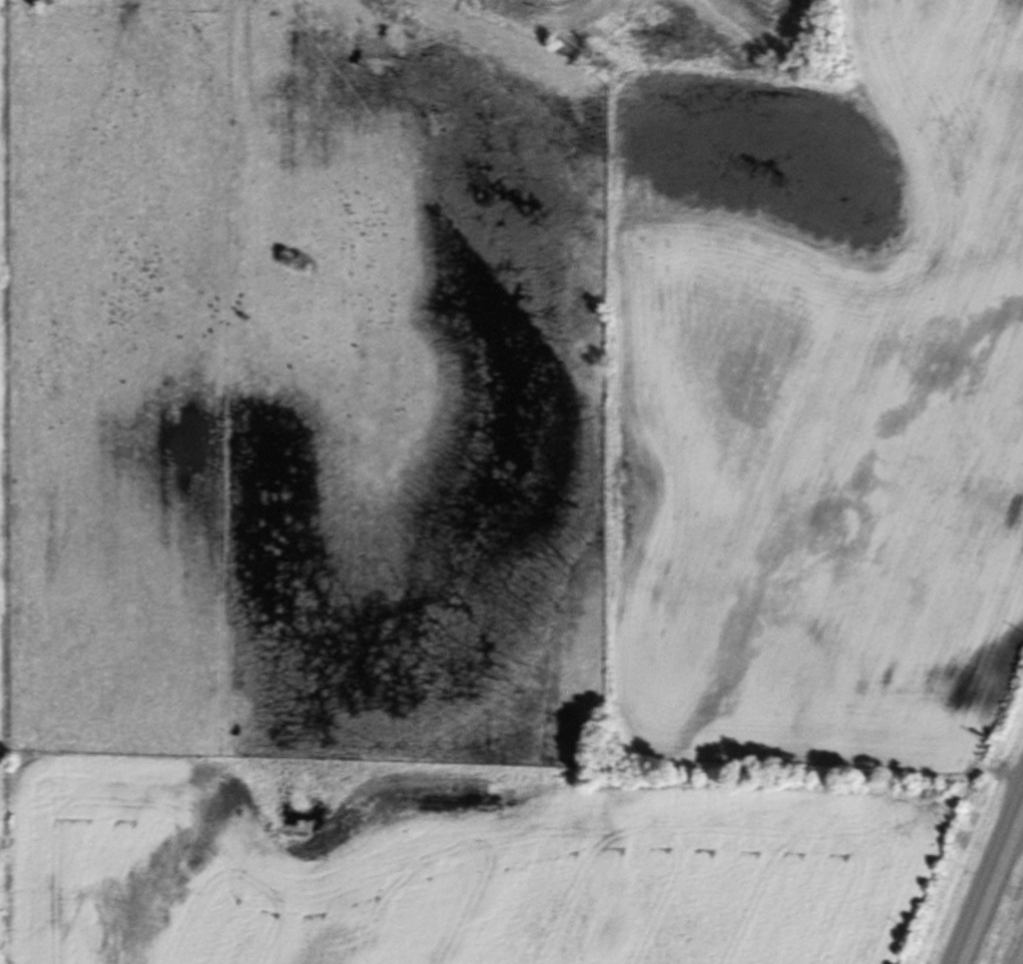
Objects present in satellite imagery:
road: (985, 869)

